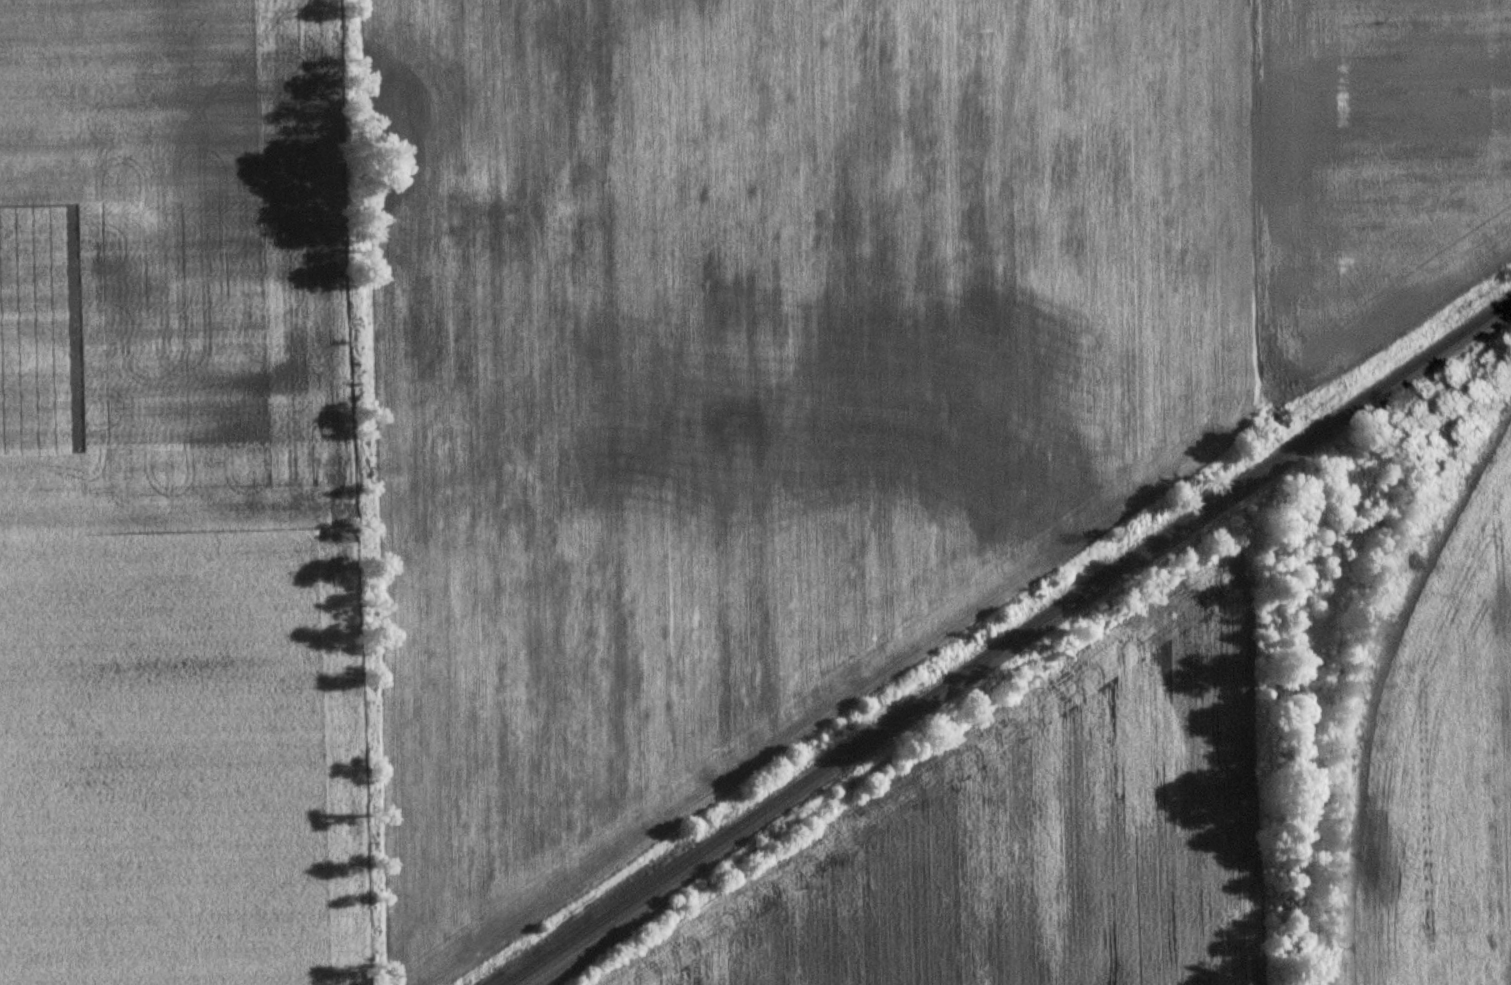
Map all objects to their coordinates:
railway: (1007, 642)

